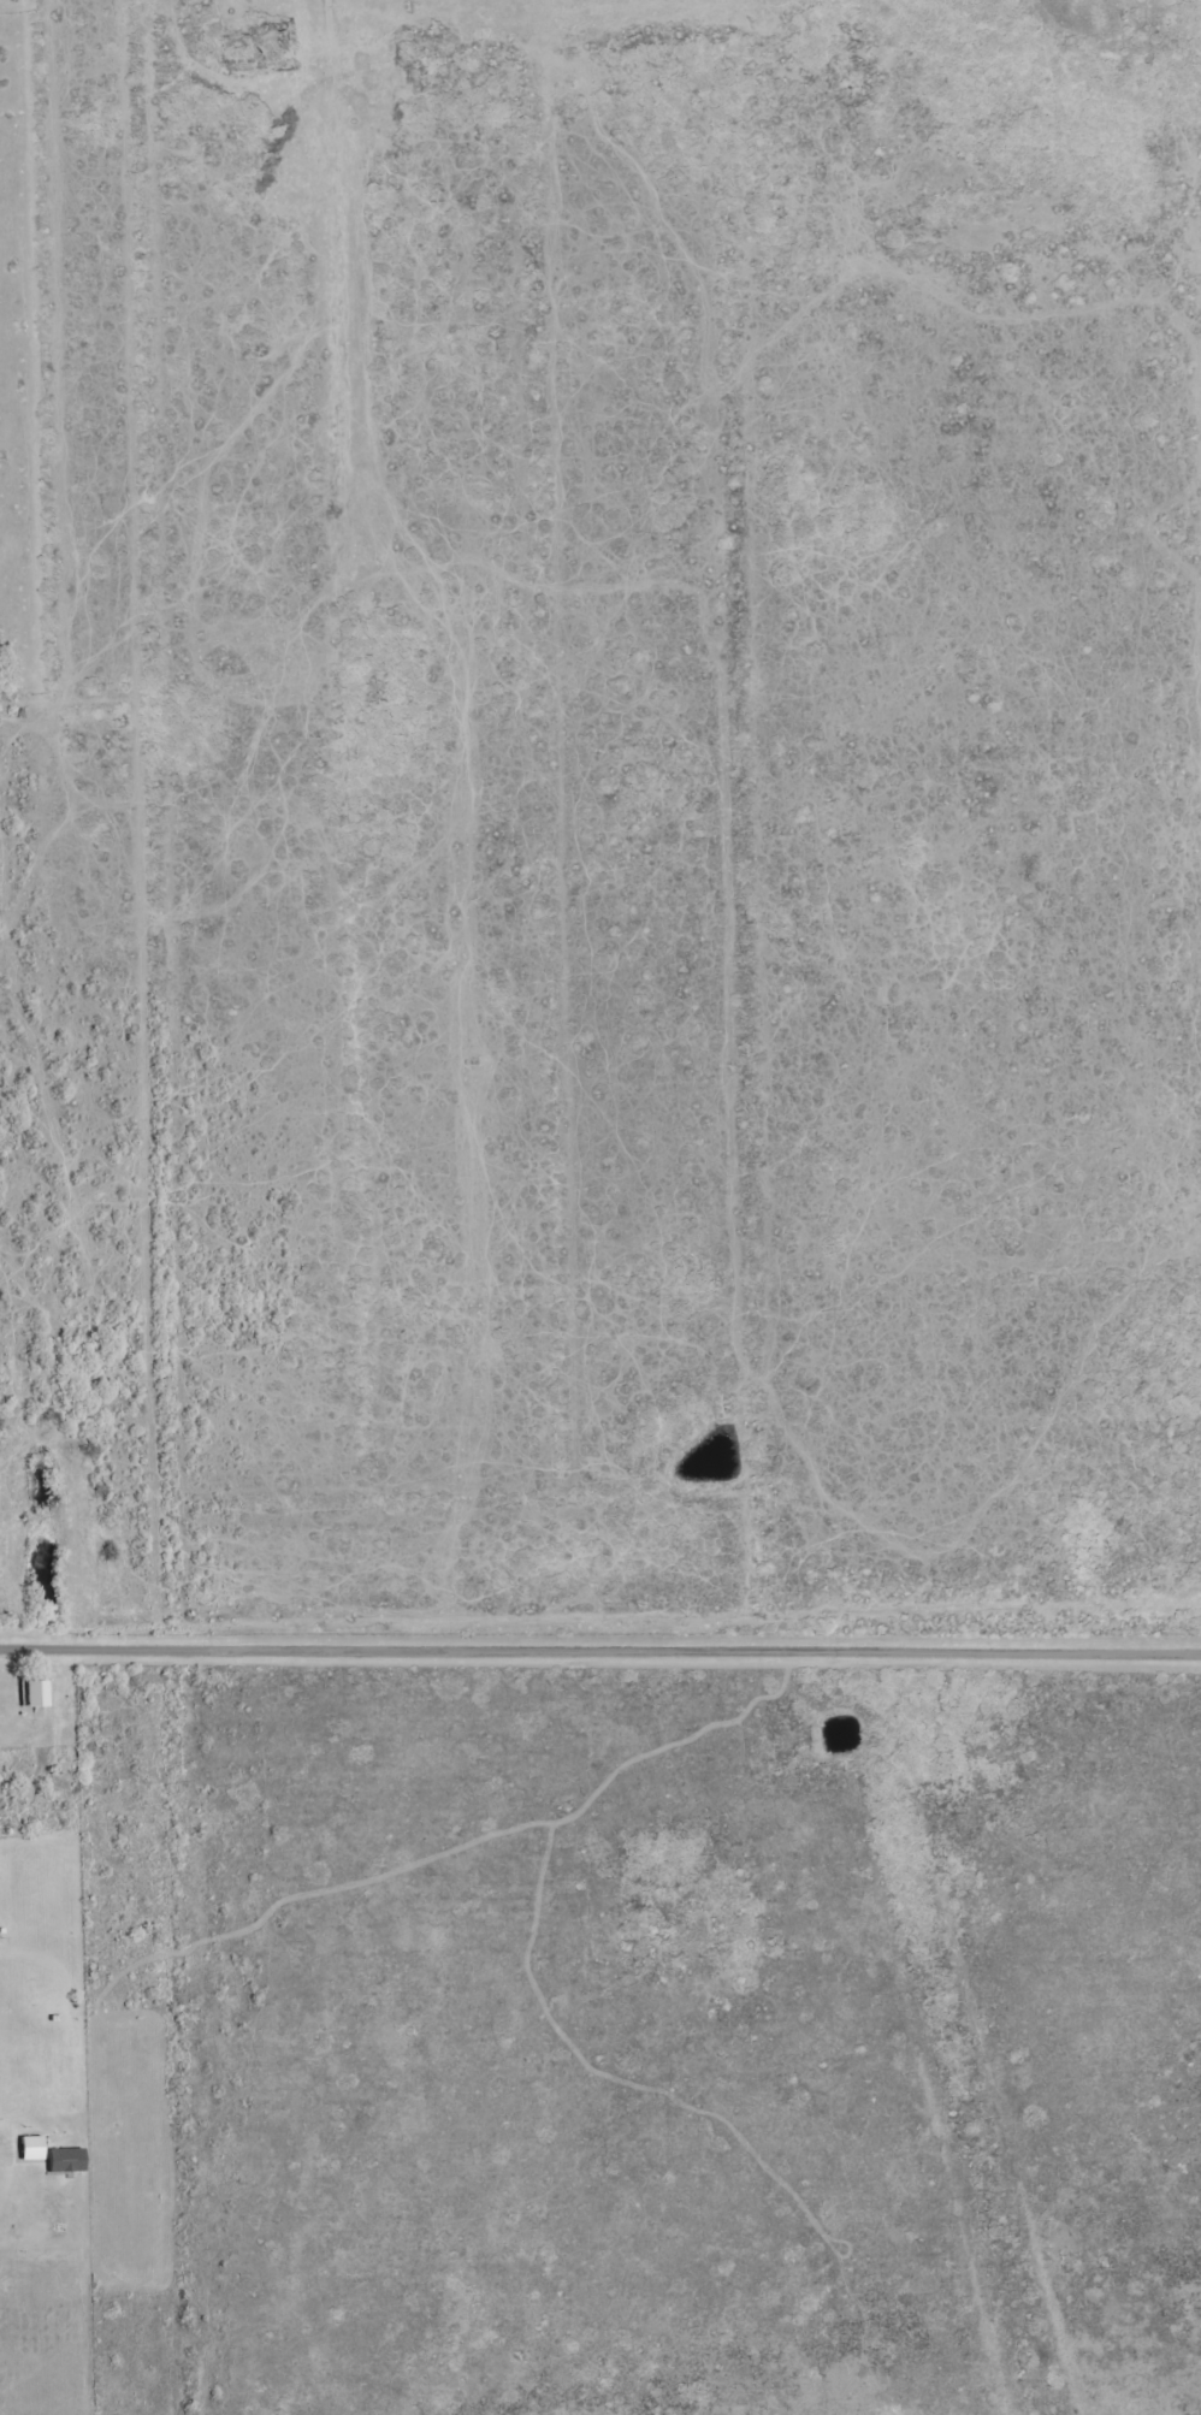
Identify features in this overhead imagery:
road: (600, 1644)
building: (35, 1693)
building: (30, 2148)
building: (65, 2160)

